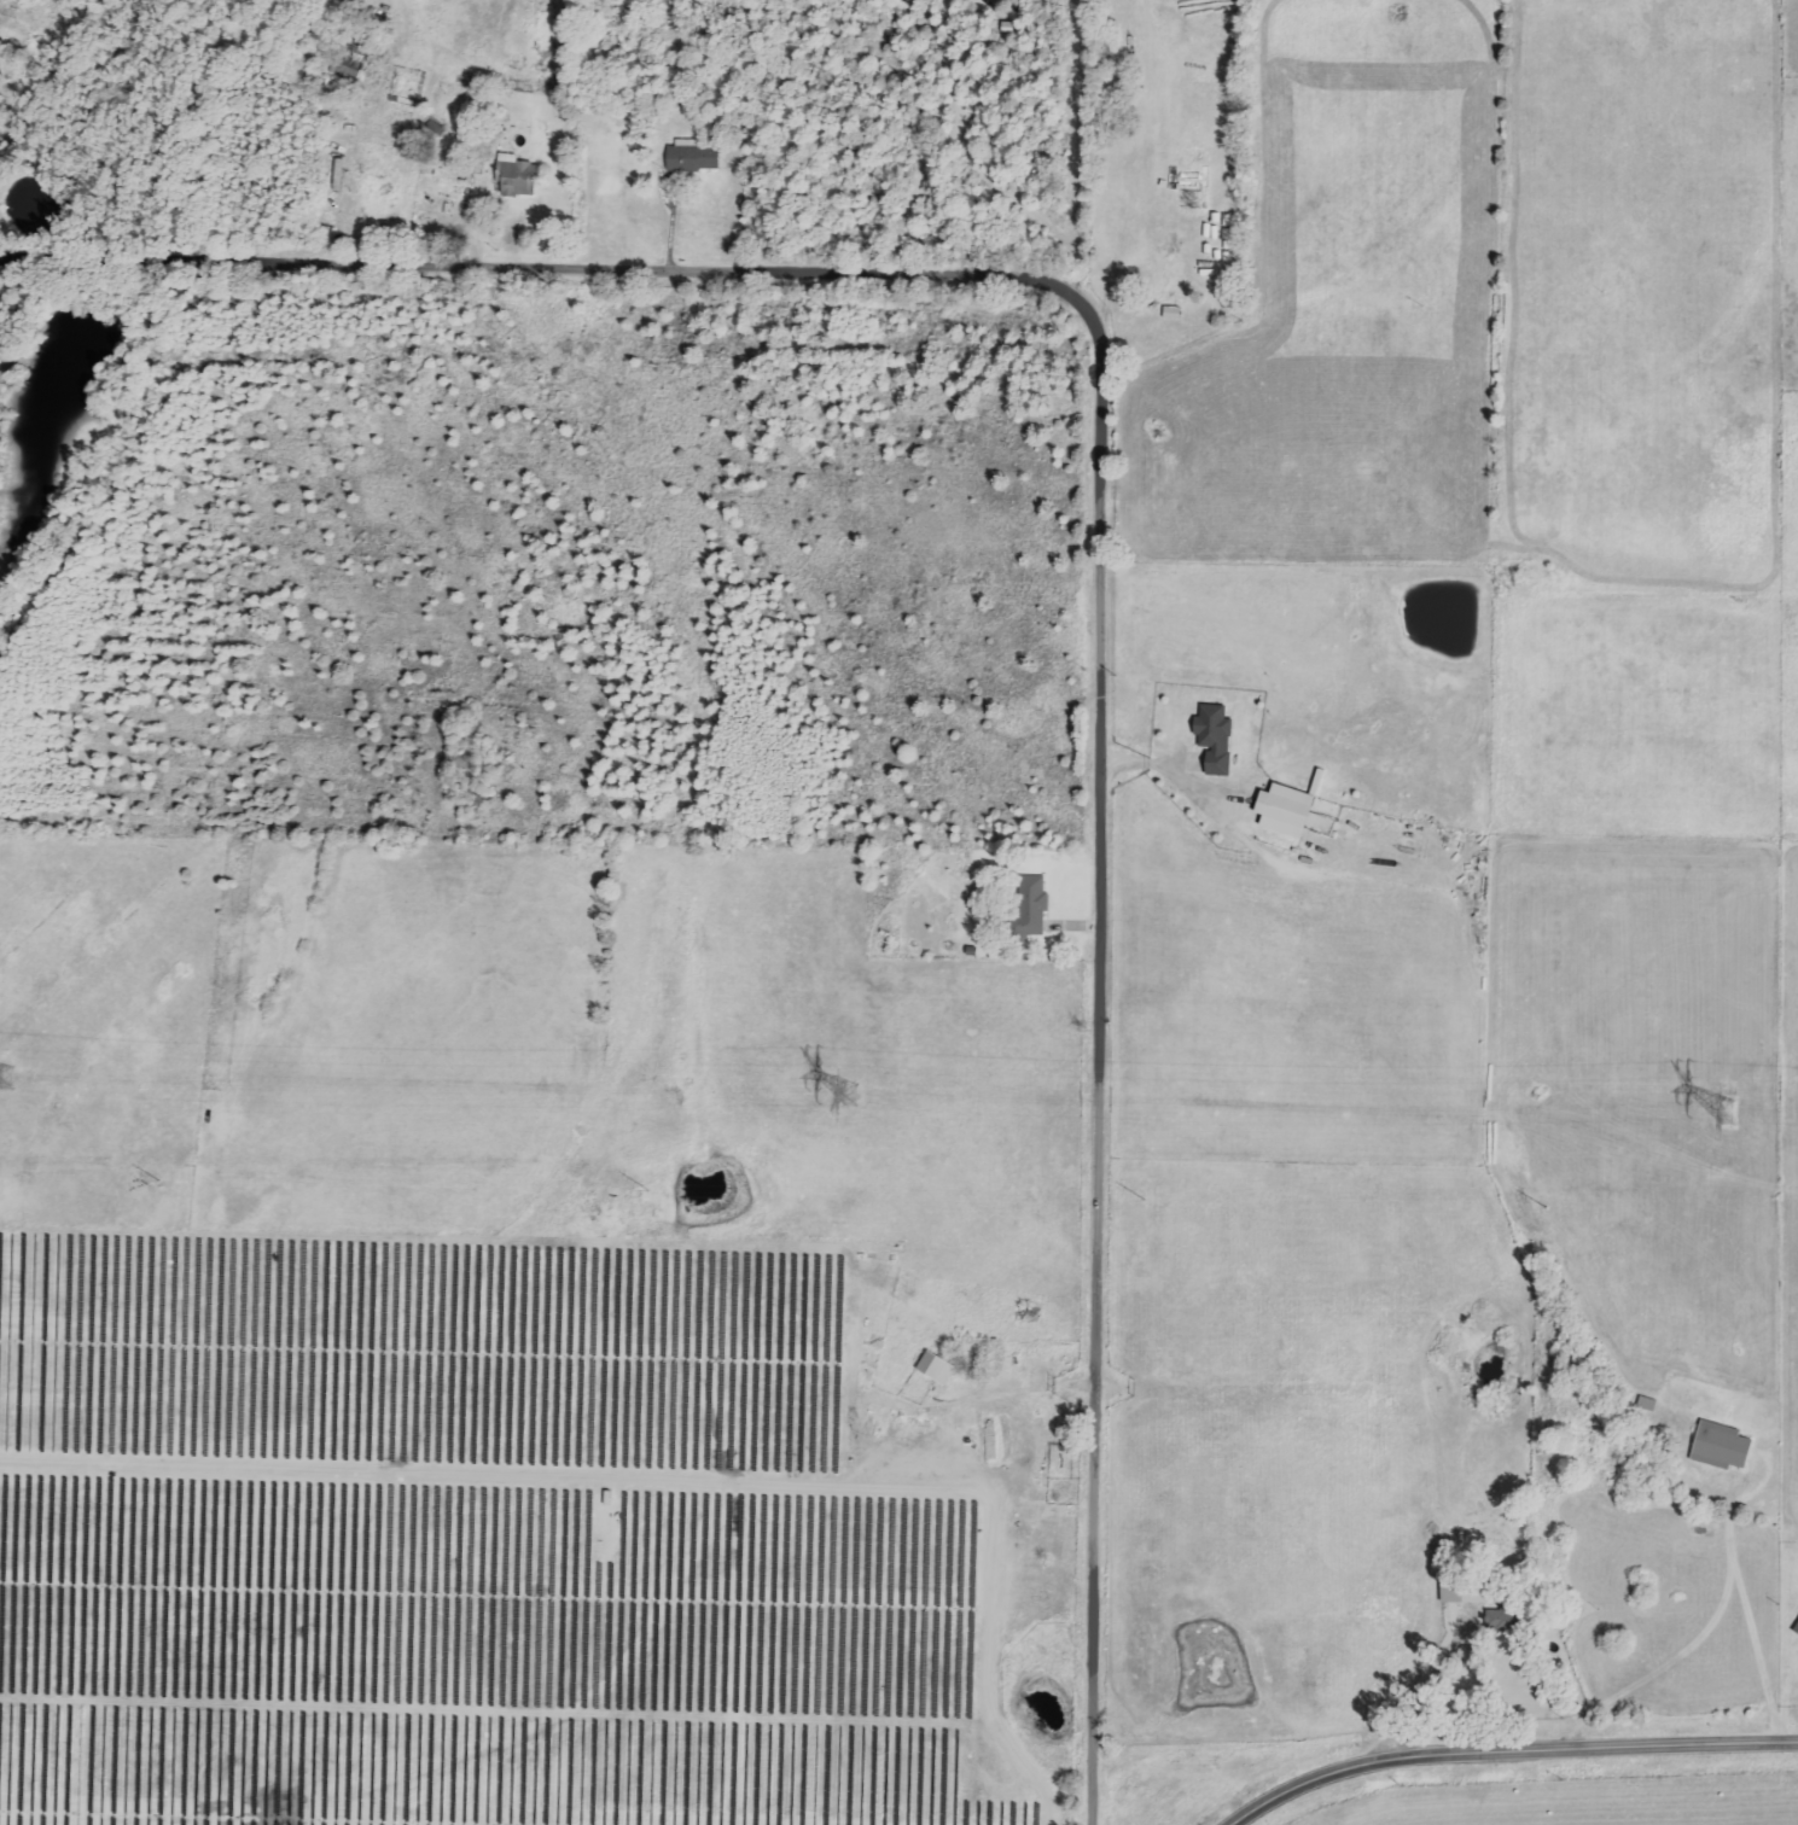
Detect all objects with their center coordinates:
building: (689, 157)
building: (517, 177)
building: (1170, 299)
road: (1109, 512)
building: (1212, 737)
building: (1282, 810)
building: (1030, 905)
power tower: (7, 1078)
power tower: (851, 1091)
power tower: (1728, 1112)
building: (933, 1368)
building: (1718, 1446)
building: (1461, 1593)
road: (1746, 1600)
building: (1796, 1631)
road: (1675, 1664)
road: (1426, 1685)
road: (1502, 1745)

